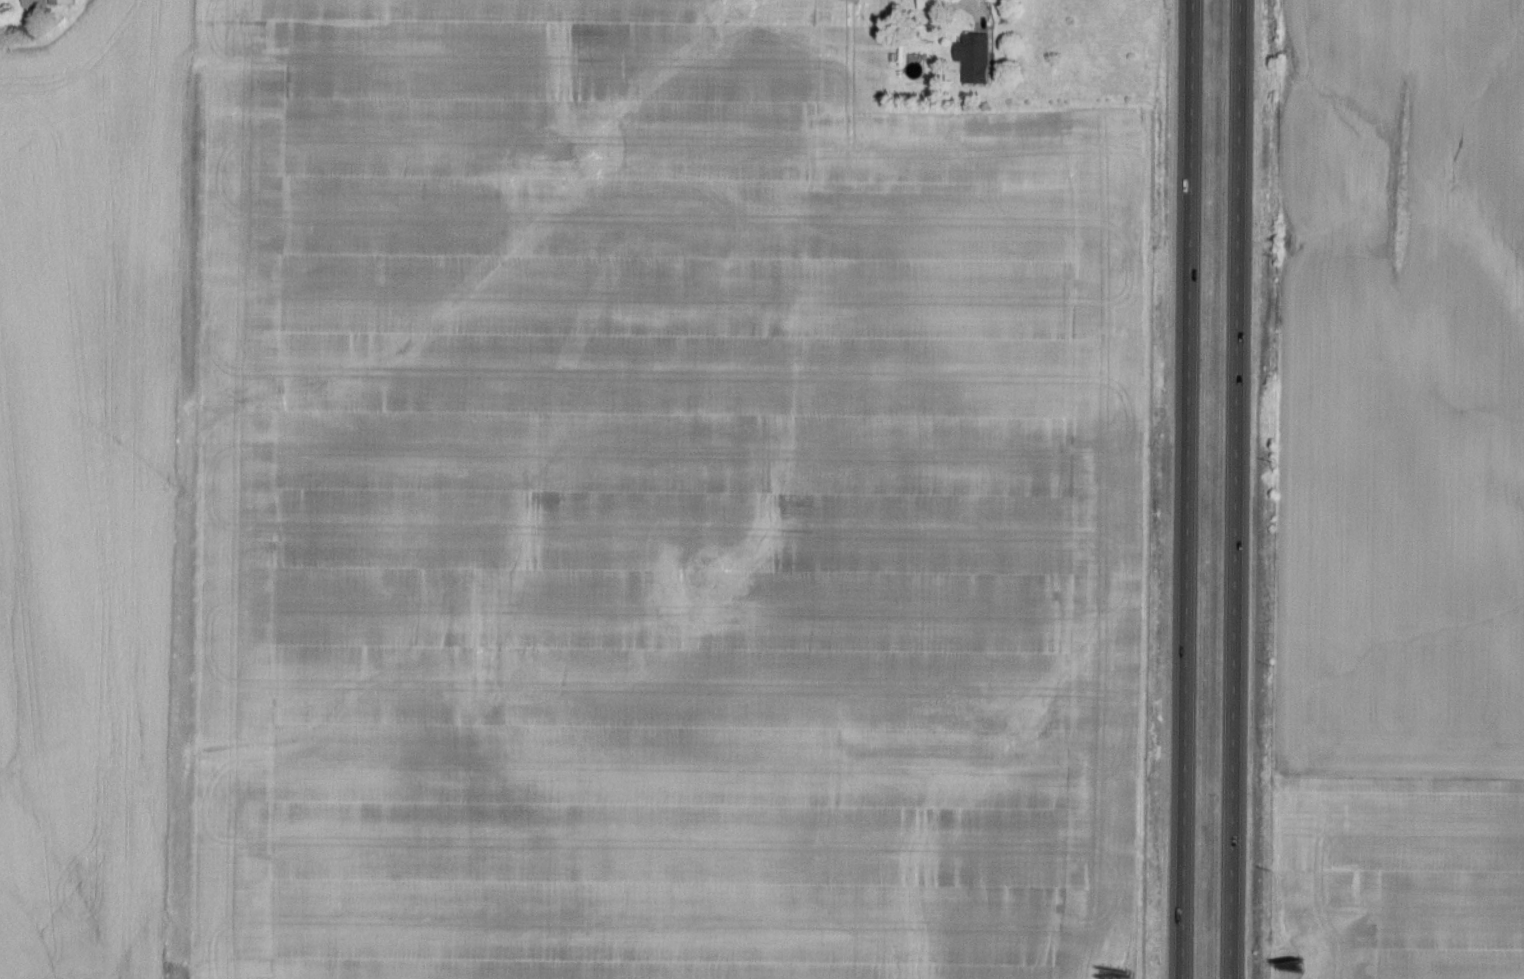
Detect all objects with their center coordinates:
building: (60, 3)
building: (929, 5)
building: (974, 60)
road: (1187, 489)
road: (1235, 489)

